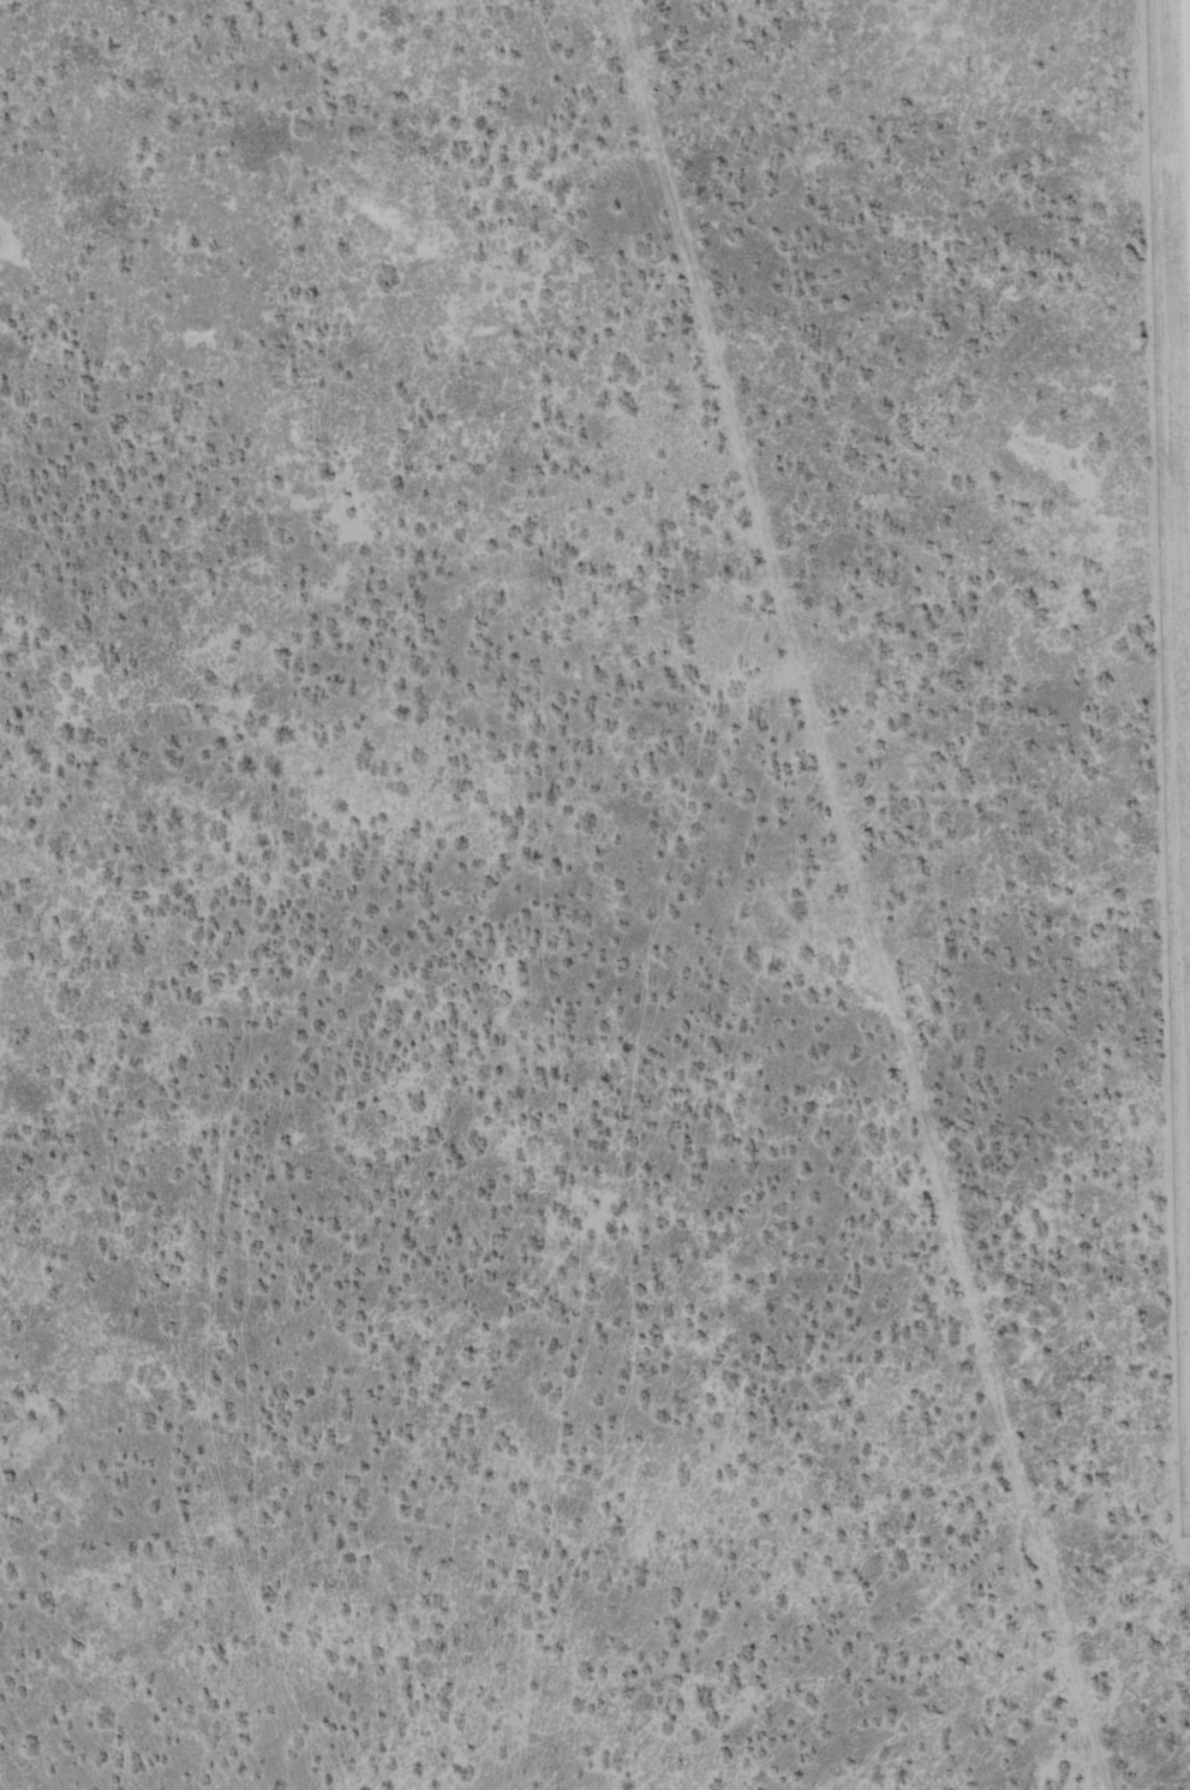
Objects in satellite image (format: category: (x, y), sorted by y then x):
solar farm: (1173, 651)

